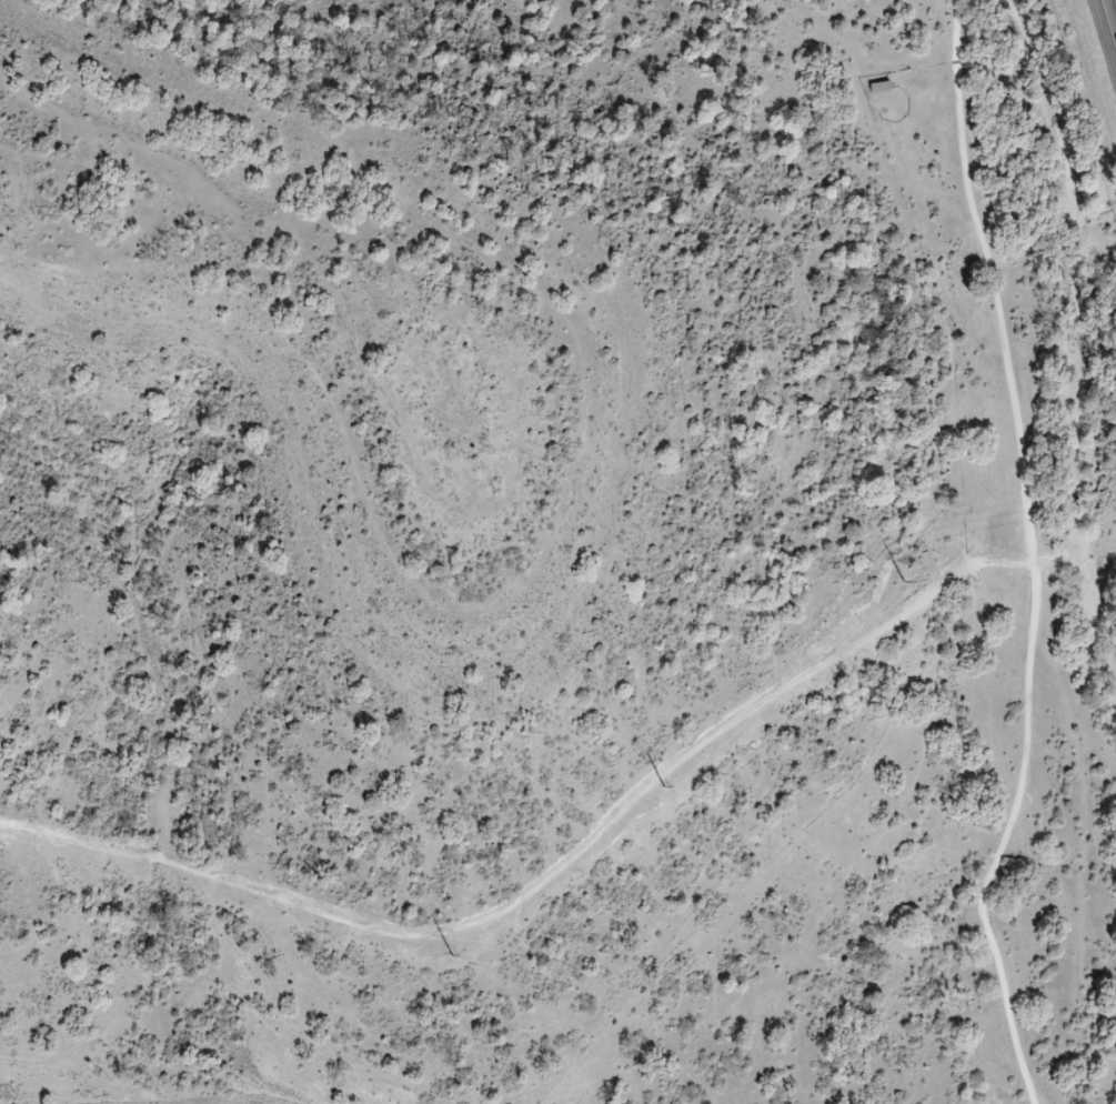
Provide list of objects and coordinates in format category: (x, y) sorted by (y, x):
road: (1110, 16)
power tower: (907, 584)
power tower: (670, 786)
power tower: (456, 955)
road: (260, 1101)

